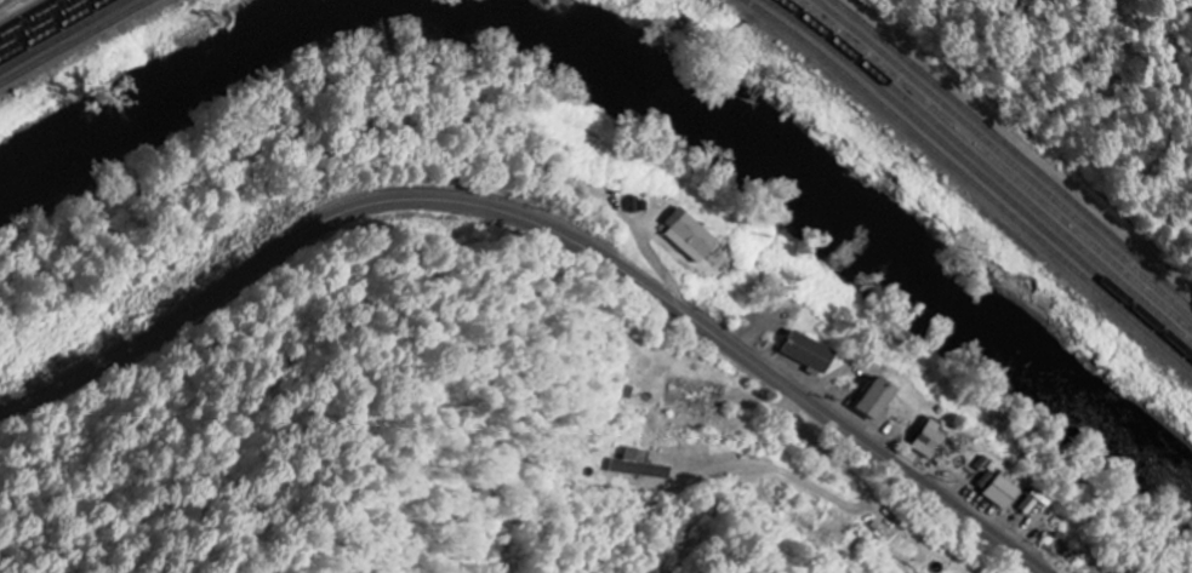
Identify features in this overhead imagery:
railway: (67, 38)
railway: (78, 42)
river: (638, 68)
railway: (981, 170)
railway: (969, 178)
road: (544, 229)
building: (689, 235)
building: (809, 354)
building: (876, 399)
building: (929, 440)
building: (638, 466)
building: (998, 491)
building: (1032, 504)

